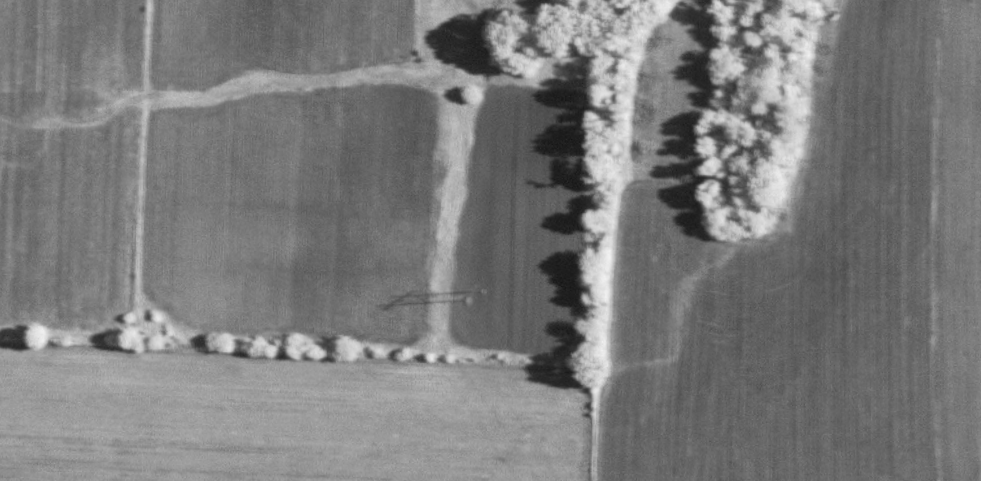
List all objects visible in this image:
power tower: (478, 294)

